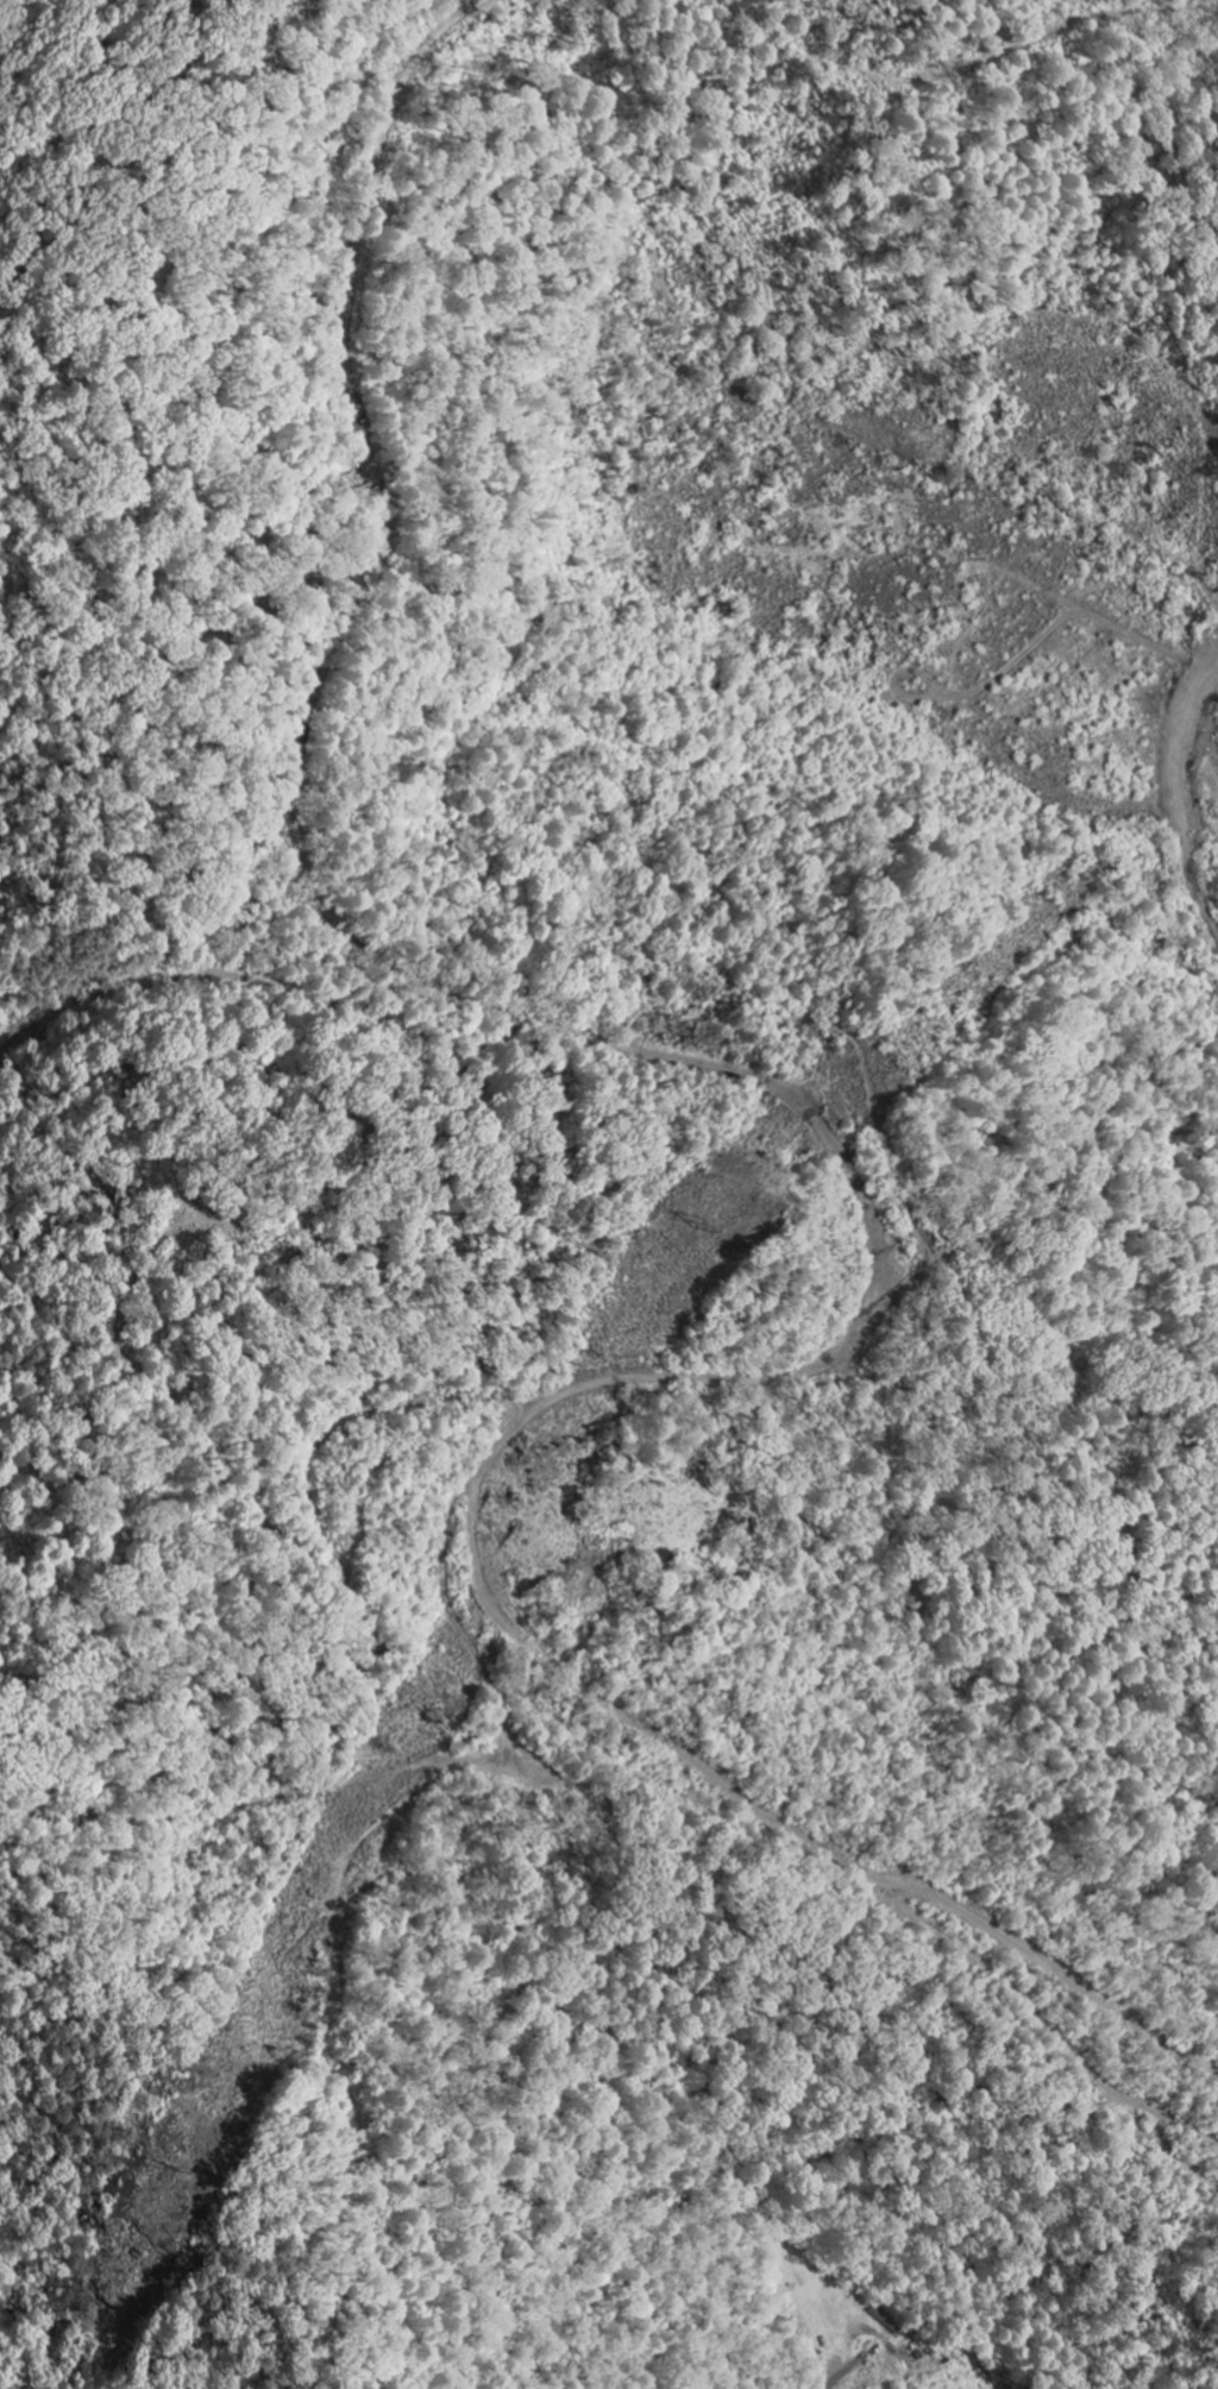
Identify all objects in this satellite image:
road: (294, 364)
road: (256, 892)

